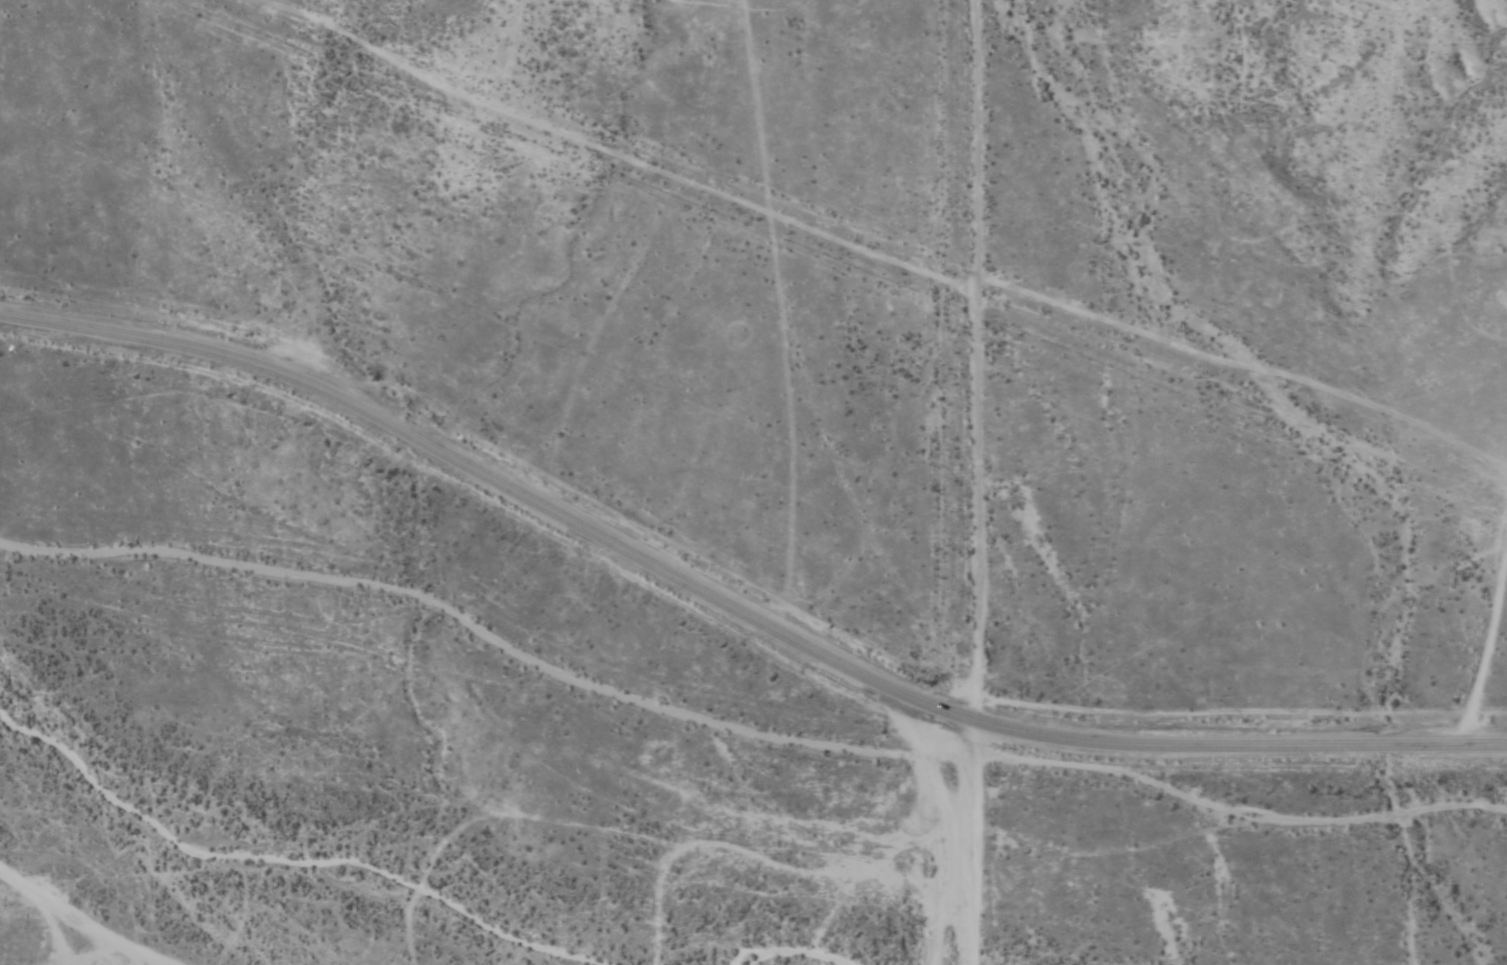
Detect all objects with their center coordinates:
road: (736, 611)
road: (72, 905)

